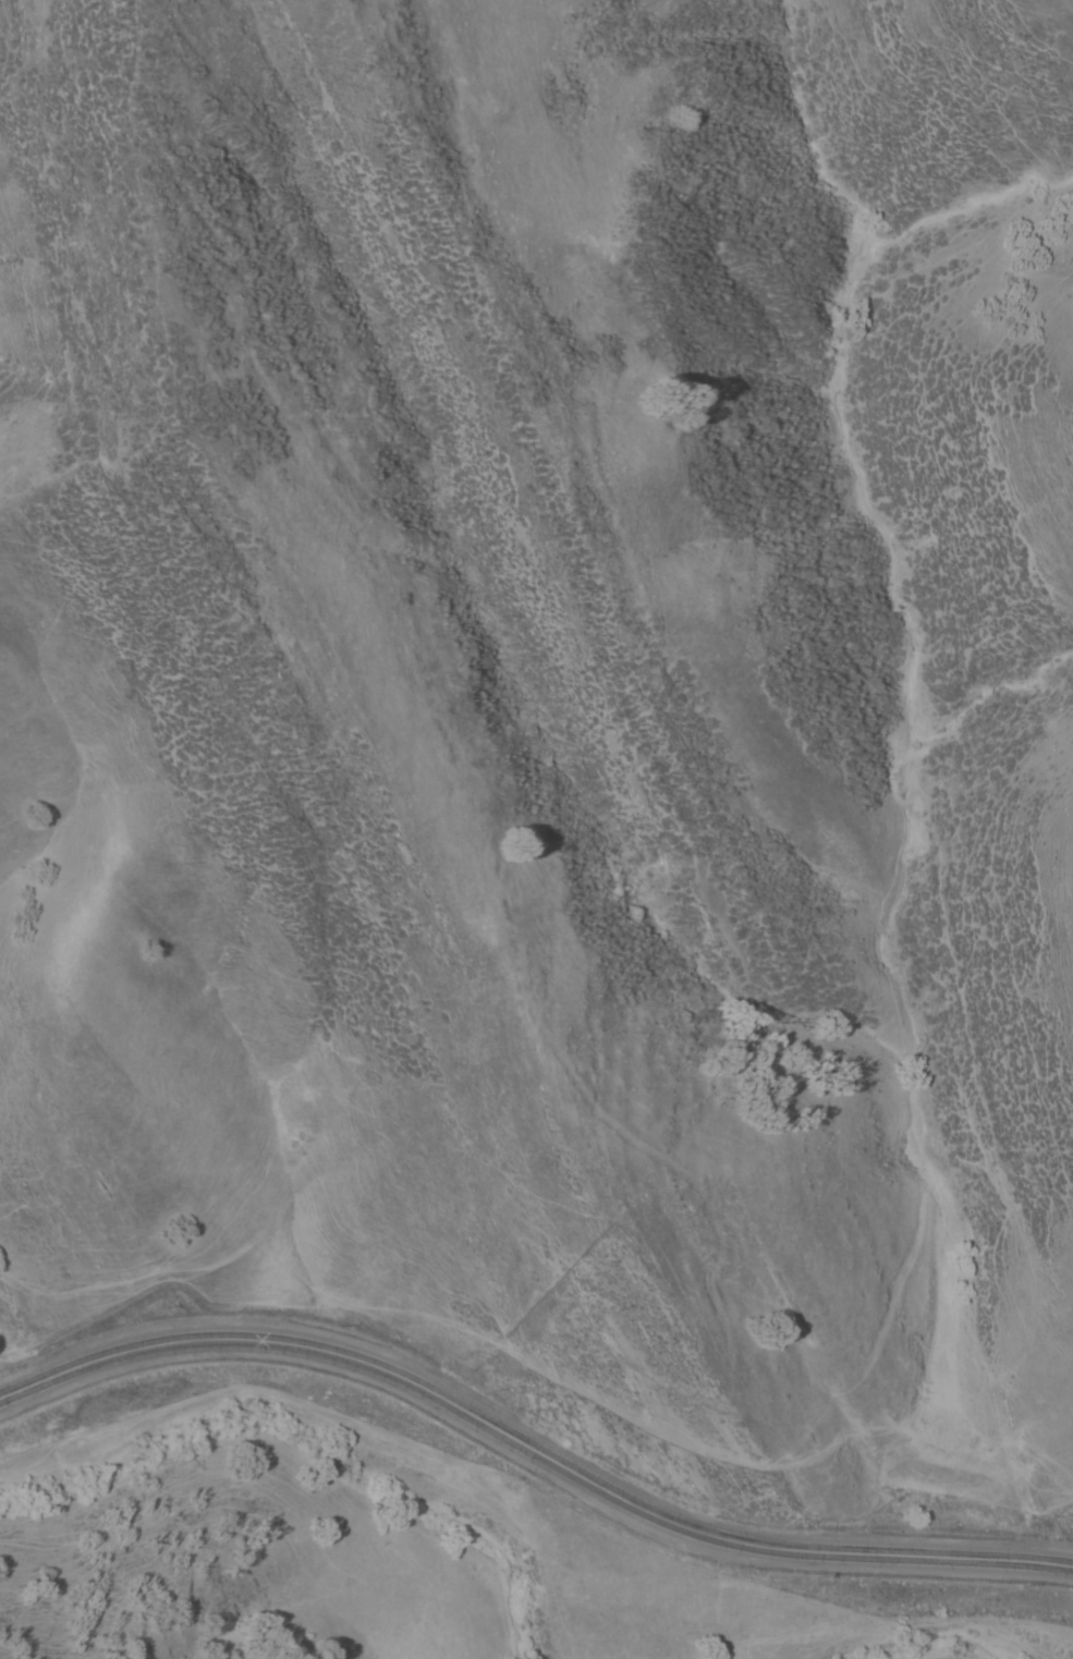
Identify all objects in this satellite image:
wastewater plant: (928, 1337)
road: (529, 1447)

